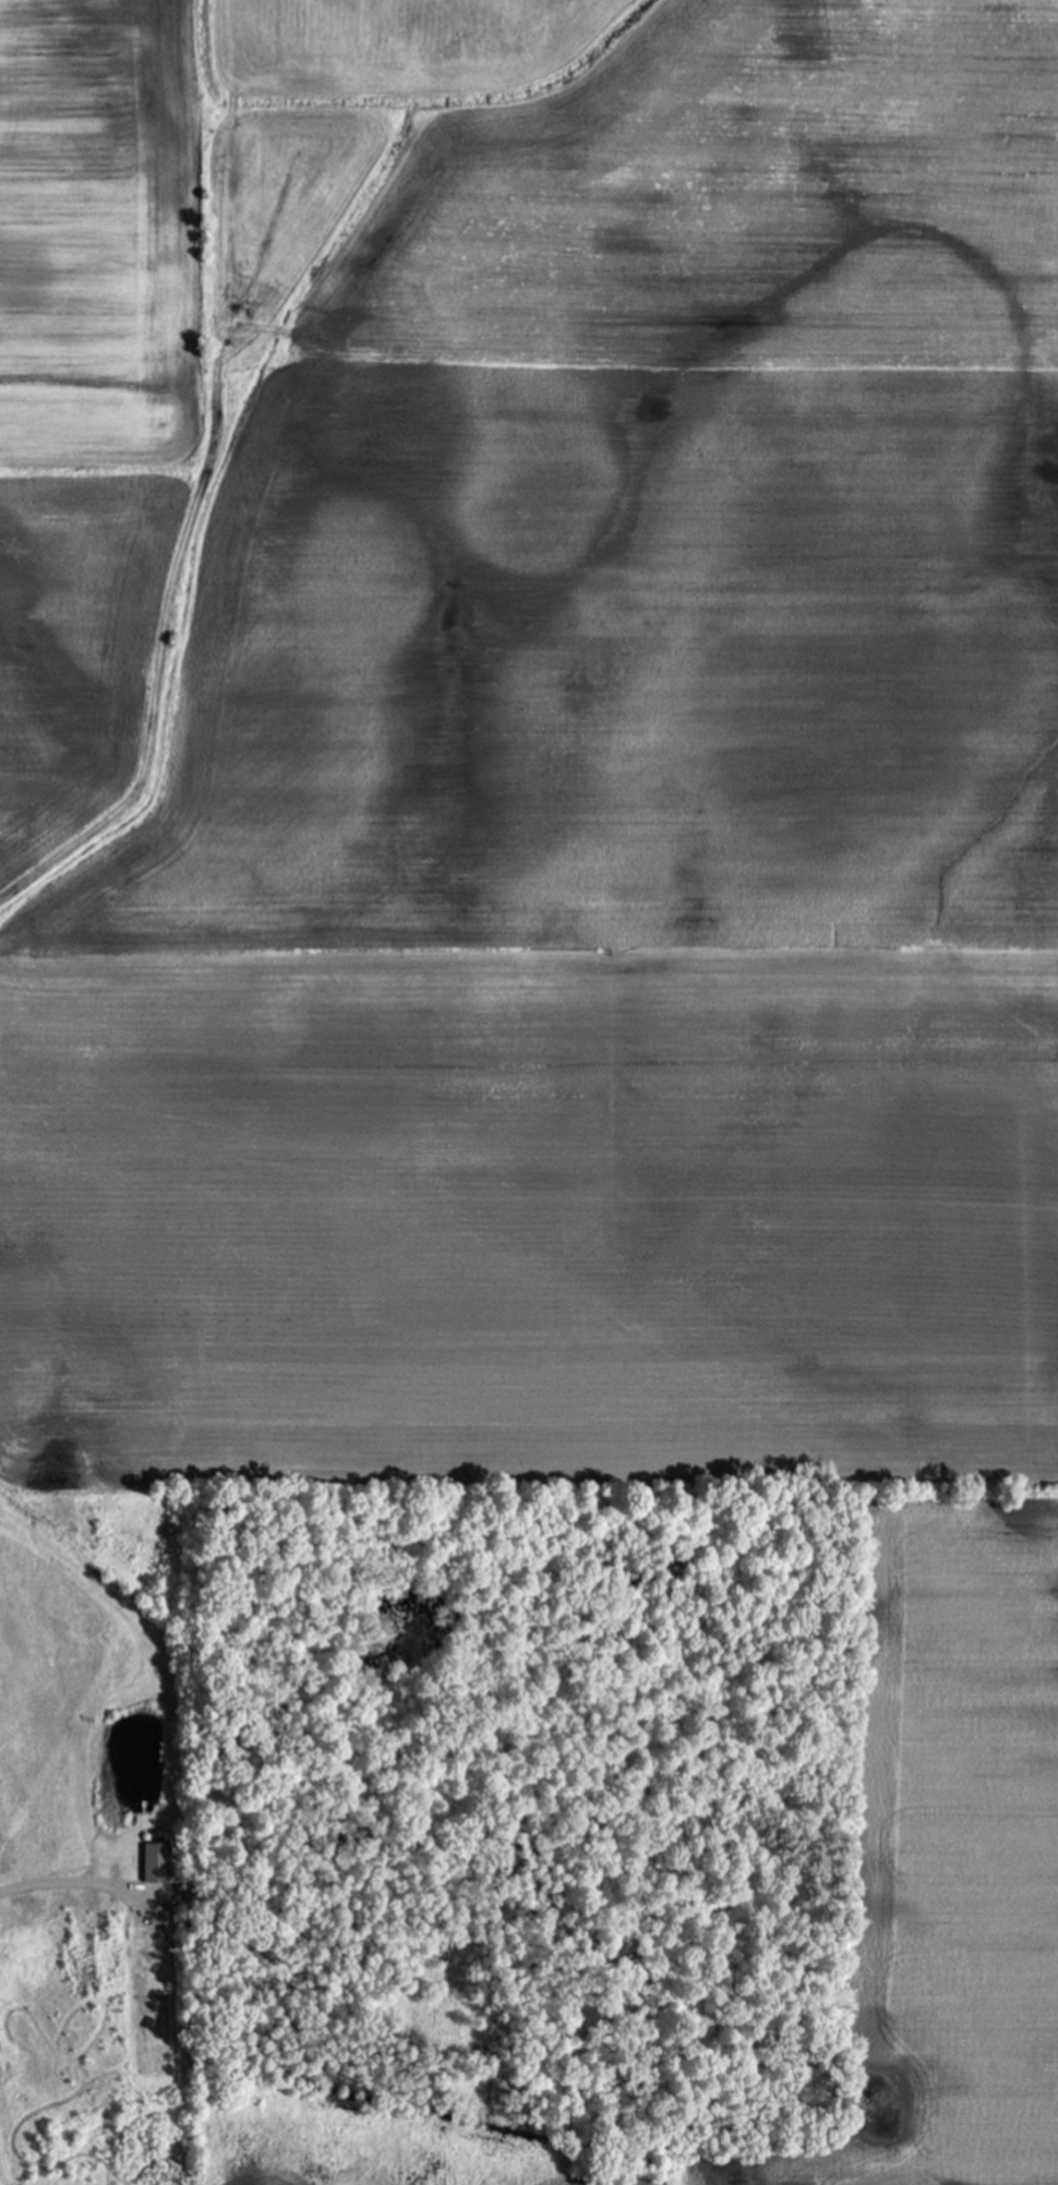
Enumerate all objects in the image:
building: (155, 1863)
road: (74, 1882)

